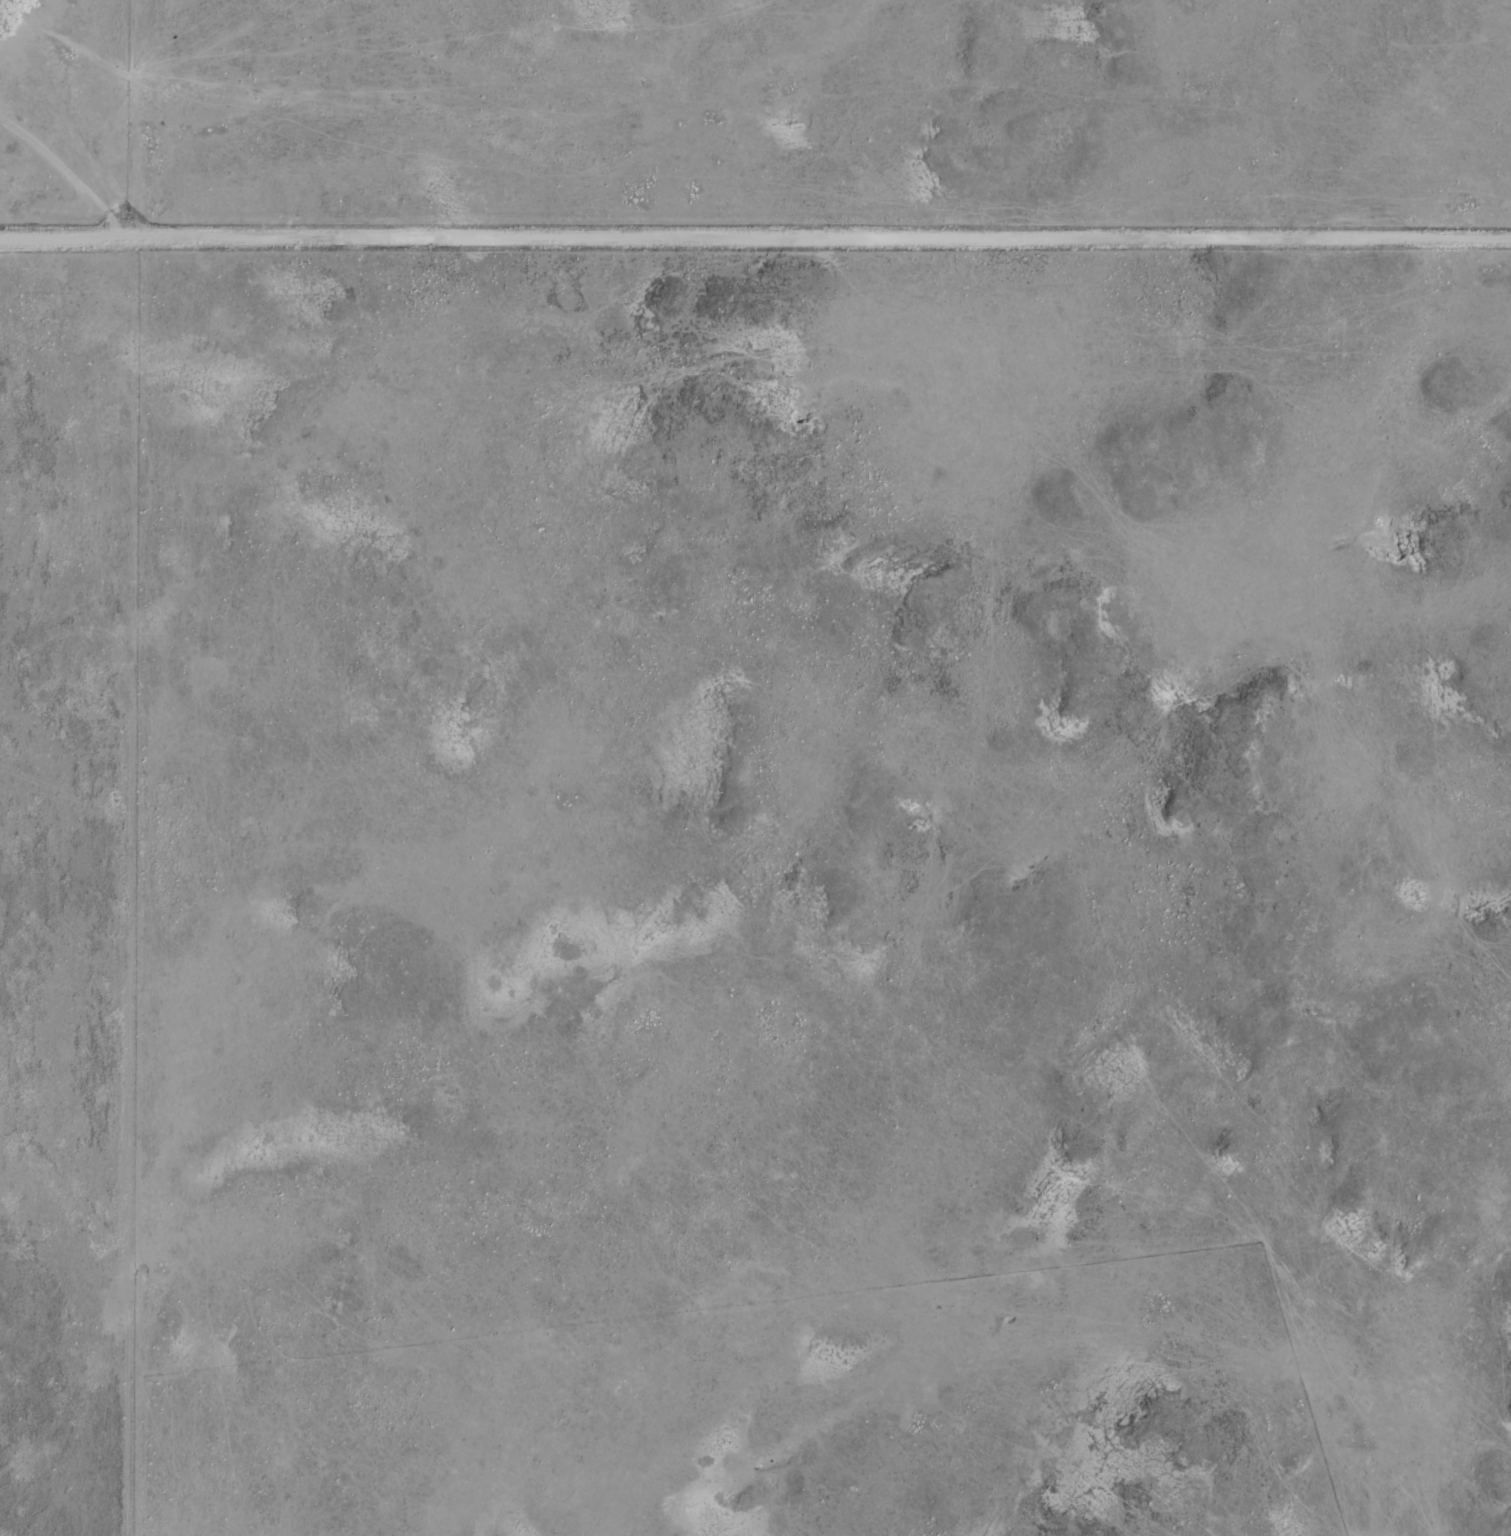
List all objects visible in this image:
road: (65, 111)
road: (176, 123)
road: (755, 235)

